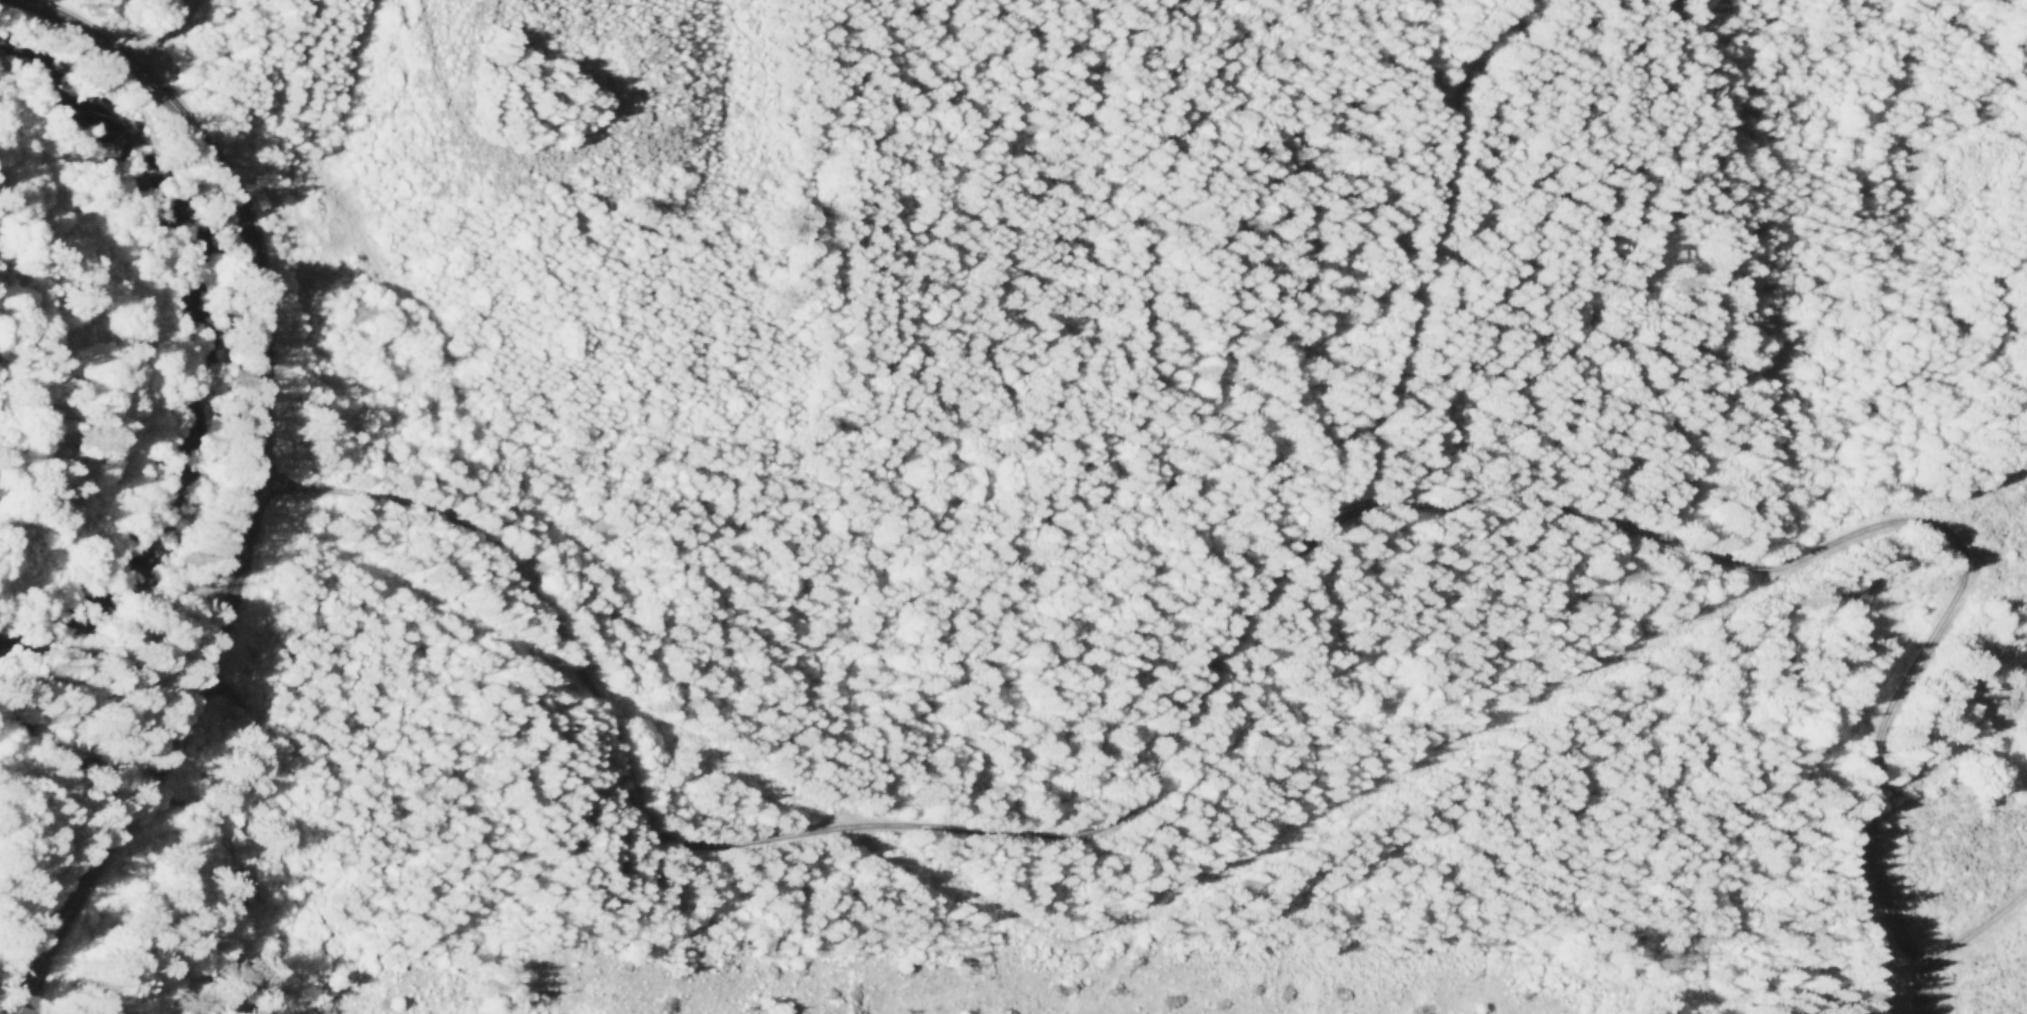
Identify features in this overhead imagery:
road: (165, 33)
road: (464, 121)
road: (1413, 250)
river: (211, 374)
road: (255, 484)
road: (1996, 524)
road: (1246, 598)
road: (254, 746)
road: (1981, 922)
road: (269, 948)
road: (27, 1003)

